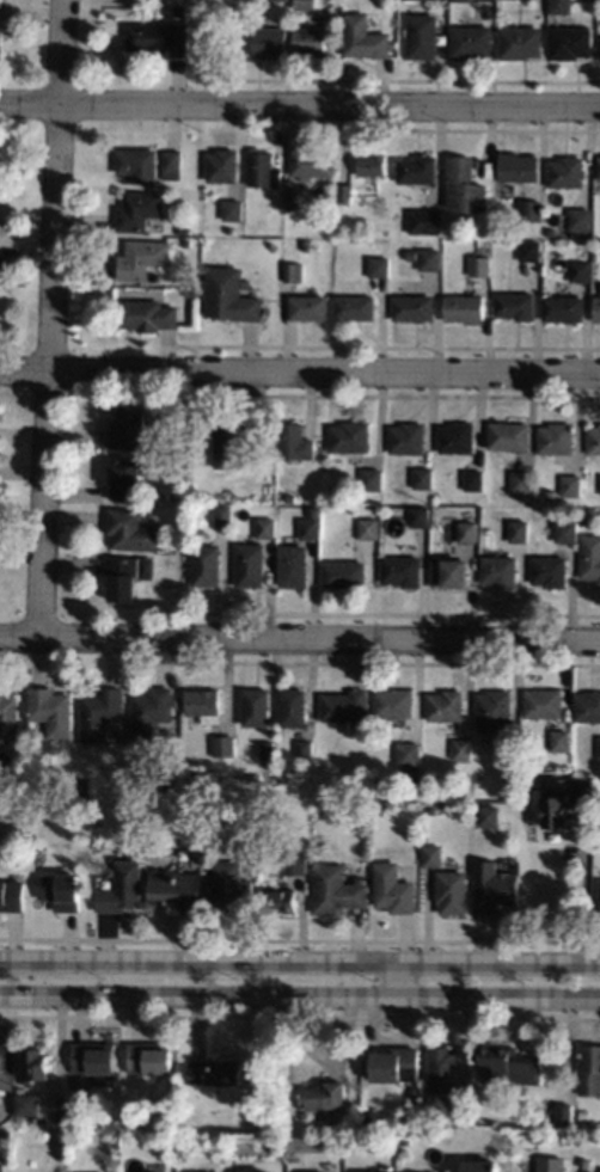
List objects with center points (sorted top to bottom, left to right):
building: (278, 0)
building: (457, 0)
building: (1, 4)
building: (306, 5)
building: (557, 6)
building: (183, 10)
building: (424, 36)
building: (1, 37)
building: (160, 37)
building: (366, 37)
building: (311, 41)
building: (471, 41)
building: (271, 42)
building: (522, 42)
building: (571, 42)
building: (599, 47)
road: (209, 51)
road: (299, 103)
building: (312, 162)
building: (372, 162)
building: (140, 164)
building: (175, 164)
building: (224, 165)
building: (520, 166)
building: (263, 168)
building: (418, 168)
building: (599, 168)
building: (567, 171)
building: (466, 185)
building: (345, 192)
building: (294, 200)
building: (141, 209)
building: (532, 209)
building: (234, 210)
building: (581, 217)
building: (427, 221)
building: (185, 229)
building: (552, 231)
building: (307, 245)
building: (531, 250)
building: (414, 253)
building: (595, 256)
building: (145, 258)
building: (430, 258)
building: (480, 265)
building: (381, 266)
building: (581, 270)
building: (295, 271)
building: (157, 275)
building: (406, 287)
building: (194, 292)
building: (232, 294)
building: (515, 305)
building: (310, 307)
building: (356, 307)
building: (414, 307)
building: (465, 307)
building: (564, 308)
building: (598, 308)
building: (147, 314)
road: (49, 318)
road: (300, 372)
building: (134, 430)
building: (509, 435)
building: (350, 436)
building: (457, 436)
building: (408, 437)
building: (557, 437)
building: (594, 438)
building: (237, 441)
building: (295, 441)
building: (182, 464)
building: (128, 475)
building: (375, 475)
building: (423, 477)
building: (473, 479)
building: (522, 480)
building: (570, 485)
building: (599, 485)
building: (292, 497)
building: (314, 510)
building: (226, 515)
building: (420, 516)
building: (586, 520)
building: (268, 527)
building: (311, 528)
building: (371, 528)
building: (133, 529)
building: (469, 530)
building: (520, 530)
building: (568, 530)
building: (590, 556)
building: (208, 565)
building: (252, 565)
building: (294, 565)
building: (142, 567)
building: (403, 570)
building: (501, 570)
building: (551, 571)
building: (345, 573)
building: (451, 573)
building: (123, 577)
road: (300, 639)
building: (396, 702)
building: (545, 702)
building: (206, 704)
building: (345, 705)
building: (446, 705)
building: (257, 706)
building: (495, 706)
building: (588, 706)
building: (294, 707)
building: (53, 710)
building: (154, 710)
building: (103, 712)
building: (10, 716)
building: (562, 740)
building: (226, 745)
building: (509, 745)
building: (461, 748)
building: (269, 749)
building: (306, 749)
building: (411, 761)
building: (85, 785)
building: (586, 792)
building: (556, 808)
building: (382, 809)
building: (489, 816)
building: (434, 855)
building: (298, 863)
building: (234, 886)
building: (495, 886)
building: (124, 888)
building: (182, 888)
building: (394, 888)
building: (339, 889)
building: (65, 890)
building: (453, 891)
building: (13, 895)
road: (582, 895)
building: (598, 895)
building: (283, 900)
road: (300, 959)
road: (394, 978)
road: (299, 995)
building: (91, 1059)
building: (148, 1059)
building: (393, 1064)
building: (5, 1066)
building: (507, 1066)
building: (33, 1067)
building: (439, 1069)
building: (587, 1070)
building: (213, 1073)
building: (323, 1097)
building: (24, 1105)
building: (458, 1107)
building: (183, 1110)
building: (559, 1113)
building: (580, 1115)
building: (68, 1117)
building: (366, 1119)
building: (184, 1128)
building: (5, 1137)
building: (404, 1142)
building: (580, 1162)
building: (477, 1165)
building: (547, 1165)
building: (256, 1171)

